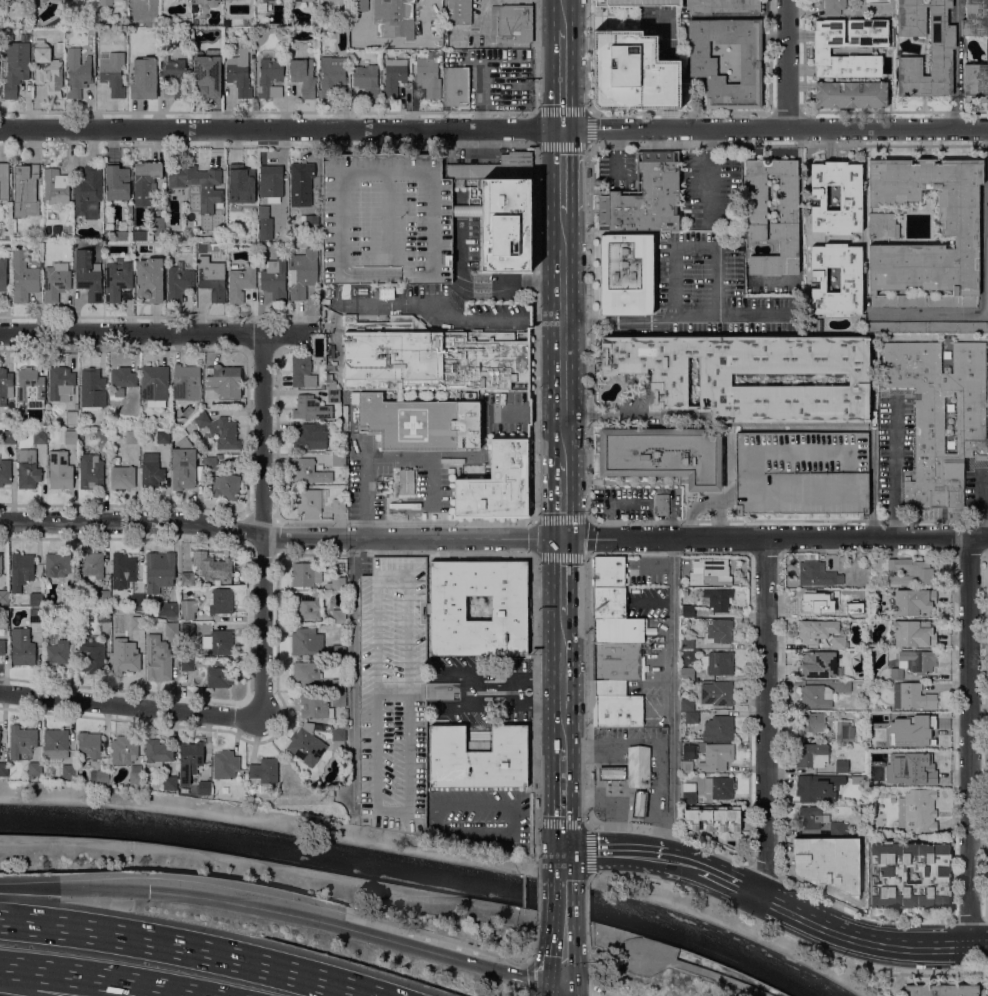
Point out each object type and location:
building: (11, 0)
building: (244, 1)
building: (110, 2)
building: (212, 2)
building: (296, 2)
building: (638, 2)
building: (360, 5)
building: (722, 6)
building: (834, 6)
building: (459, 12)
building: (196, 14)
road: (563, 14)
building: (394, 18)
building: (975, 18)
building: (185, 22)
building: (511, 23)
building: (942, 42)
building: (60, 47)
building: (820, 50)
road: (535, 55)
road: (587, 55)
road: (956, 62)
road: (787, 63)
building: (702, 66)
building: (16, 67)
building: (48, 69)
building: (77, 72)
building: (239, 72)
building: (208, 73)
building: (635, 73)
building: (303, 75)
building: (332, 75)
building: (112, 76)
building: (394, 76)
building: (174, 77)
building: (270, 77)
building: (428, 77)
building: (144, 78)
road: (563, 78)
building: (366, 79)
building: (975, 79)
building: (455, 85)
building: (850, 94)
road: (589, 111)
road: (775, 126)
road: (281, 127)
traffic signals: (563, 127)
building: (493, 168)
road: (562, 169)
parking lot: (616, 170)
road: (709, 172)
building: (145, 180)
building: (4, 181)
building: (117, 181)
building: (271, 181)
building: (55, 183)
building: (198, 183)
building: (241, 183)
building: (301, 183)
building: (25, 190)
parking lot: (710, 191)
building: (88, 192)
building: (850, 196)
building: (647, 199)
building: (129, 207)
building: (755, 213)
building: (52, 214)
building: (386, 219)
parking lot: (386, 219)
building: (309, 222)
building: (158, 223)
building: (264, 223)
building: (505, 224)
building: (883, 225)
building: (959, 227)
building: (121, 235)
road: (695, 245)
building: (303, 272)
building: (3, 273)
building: (626, 274)
building: (88, 275)
road: (982, 275)
building: (23, 277)
building: (211, 277)
building: (117, 278)
building: (150, 278)
building: (275, 278)
building: (851, 278)
building: (56, 280)
building: (241, 282)
building: (178, 283)
road: (485, 286)
road: (674, 314)
road: (449, 315)
building: (925, 325)
road: (588, 331)
road: (156, 332)
road: (535, 332)
road: (562, 336)
building: (429, 356)
building: (331, 366)
building: (302, 371)
building: (123, 376)
building: (669, 379)
building: (224, 380)
building: (186, 382)
building: (60, 383)
building: (5, 385)
building: (154, 385)
building: (332, 385)
building: (31, 386)
building: (92, 387)
building: (333, 395)
building: (311, 407)
building: (940, 415)
building: (71, 417)
road: (629, 418)
building: (421, 421)
helipad: (408, 427)
road: (800, 427)
building: (220, 430)
building: (101, 435)
building: (163, 435)
building: (9, 436)
building: (40, 436)
building: (70, 436)
building: (132, 436)
building: (310, 436)
building: (113, 441)
building: (664, 453)
road: (383, 457)
building: (116, 459)
building: (339, 459)
building: (209, 463)
building: (184, 464)
building: (28, 468)
road: (872, 468)
building: (60, 469)
building: (5, 470)
building: (89, 470)
building: (151, 470)
road: (727, 470)
building: (308, 471)
building: (802, 471)
building: (122, 476)
building: (405, 480)
building: (497, 483)
building: (226, 486)
road: (562, 498)
building: (308, 499)
building: (339, 504)
road: (705, 504)
building: (662, 510)
building: (677, 513)
road: (788, 518)
road: (589, 519)
road: (406, 520)
road: (259, 522)
road: (280, 536)
road: (775, 536)
traffic signals: (562, 537)
road: (672, 545)
building: (694, 555)
building: (0, 563)
building: (57, 565)
building: (212, 565)
building: (91, 566)
building: (123, 569)
building: (705, 569)
building: (21, 570)
building: (159, 570)
building: (609, 571)
building: (910, 571)
building: (305, 574)
building: (818, 574)
road: (562, 575)
building: (187, 578)
building: (73, 582)
building: (335, 582)
building: (4, 596)
building: (68, 596)
building: (103, 596)
building: (717, 598)
building: (812, 598)
building: (36, 599)
building: (137, 600)
building: (221, 600)
building: (913, 601)
building: (609, 602)
building: (187, 604)
building: (307, 606)
building: (511, 607)
building: (854, 607)
building: (168, 609)
building: (688, 610)
building: (839, 611)
building: (4, 614)
building: (36, 614)
building: (69, 614)
building: (103, 614)
building: (337, 615)
building: (137, 622)
building: (171, 628)
building: (187, 628)
building: (816, 629)
building: (618, 630)
building: (718, 631)
building: (913, 633)
building: (306, 641)
building: (221, 642)
building: (687, 642)
building: (839, 642)
building: (2, 646)
building: (22, 646)
building: (56, 650)
building: (337, 651)
building: (91, 653)
building: (158, 658)
building: (918, 660)
building: (125, 661)
building: (618, 661)
building: (718, 662)
building: (187, 663)
building: (818, 664)
building: (896, 670)
building: (307, 672)
road: (351, 673)
building: (687, 673)
building: (220, 675)
road: (503, 676)
road: (562, 679)
building: (337, 684)
building: (844, 685)
road: (587, 690)
building: (719, 693)
building: (394, 694)
building: (816, 695)
building: (913, 695)
building: (337, 699)
building: (616, 704)
building: (687, 704)
road: (127, 705)
building: (314, 705)
road: (672, 705)
road: (535, 710)
building: (873, 714)
road: (765, 715)
building: (692, 716)
building: (902, 716)
building: (813, 722)
building: (718, 728)
building: (844, 730)
building: (921, 732)
building: (337, 738)
building: (21, 740)
road: (969, 741)
road: (609, 742)
building: (306, 744)
building: (56, 745)
building: (125, 749)
building: (689, 751)
building: (158, 753)
building: (191, 753)
building: (811, 754)
building: (94, 756)
building: (717, 756)
building: (478, 757)
building: (225, 764)
building: (686, 765)
building: (841, 765)
building: (638, 766)
building: (916, 766)
building: (35, 768)
building: (4, 769)
building: (264, 770)
building: (69, 771)
building: (612, 773)
building: (136, 778)
building: (859, 779)
building: (886, 781)
building: (170, 782)
building: (719, 786)
building: (204, 787)
building: (819, 787)
building: (313, 791)
building: (688, 792)
building: (327, 793)
road: (562, 797)
building: (892, 799)
building: (639, 804)
building: (917, 810)
building: (812, 816)
building: (712, 818)
road: (270, 822)
road: (585, 825)
building: (838, 826)
road: (670, 830)
building: (823, 843)
building: (838, 848)
traffic signals: (563, 851)
road: (607, 851)
road: (675, 859)
building: (808, 862)
road: (259, 864)
road: (563, 865)
building: (850, 868)
river: (421, 871)
building: (935, 872)
road: (587, 878)
road: (729, 880)
road: (73, 888)
road: (536, 894)
road: (563, 901)
road: (586, 906)
road: (830, 928)
road: (356, 930)
road: (533, 940)
road: (937, 946)
road: (978, 946)
road: (189, 949)
road: (792, 950)
road: (562, 954)
road: (588, 956)
road: (666, 958)
road: (529, 975)
road: (98, 979)
traffic signals: (562, 987)
road: (594, 988)
building: (987, 988)
building: (940, 990)
road: (562, 991)
road: (574, 991)
road: (18, 992)
road: (531, 993)

